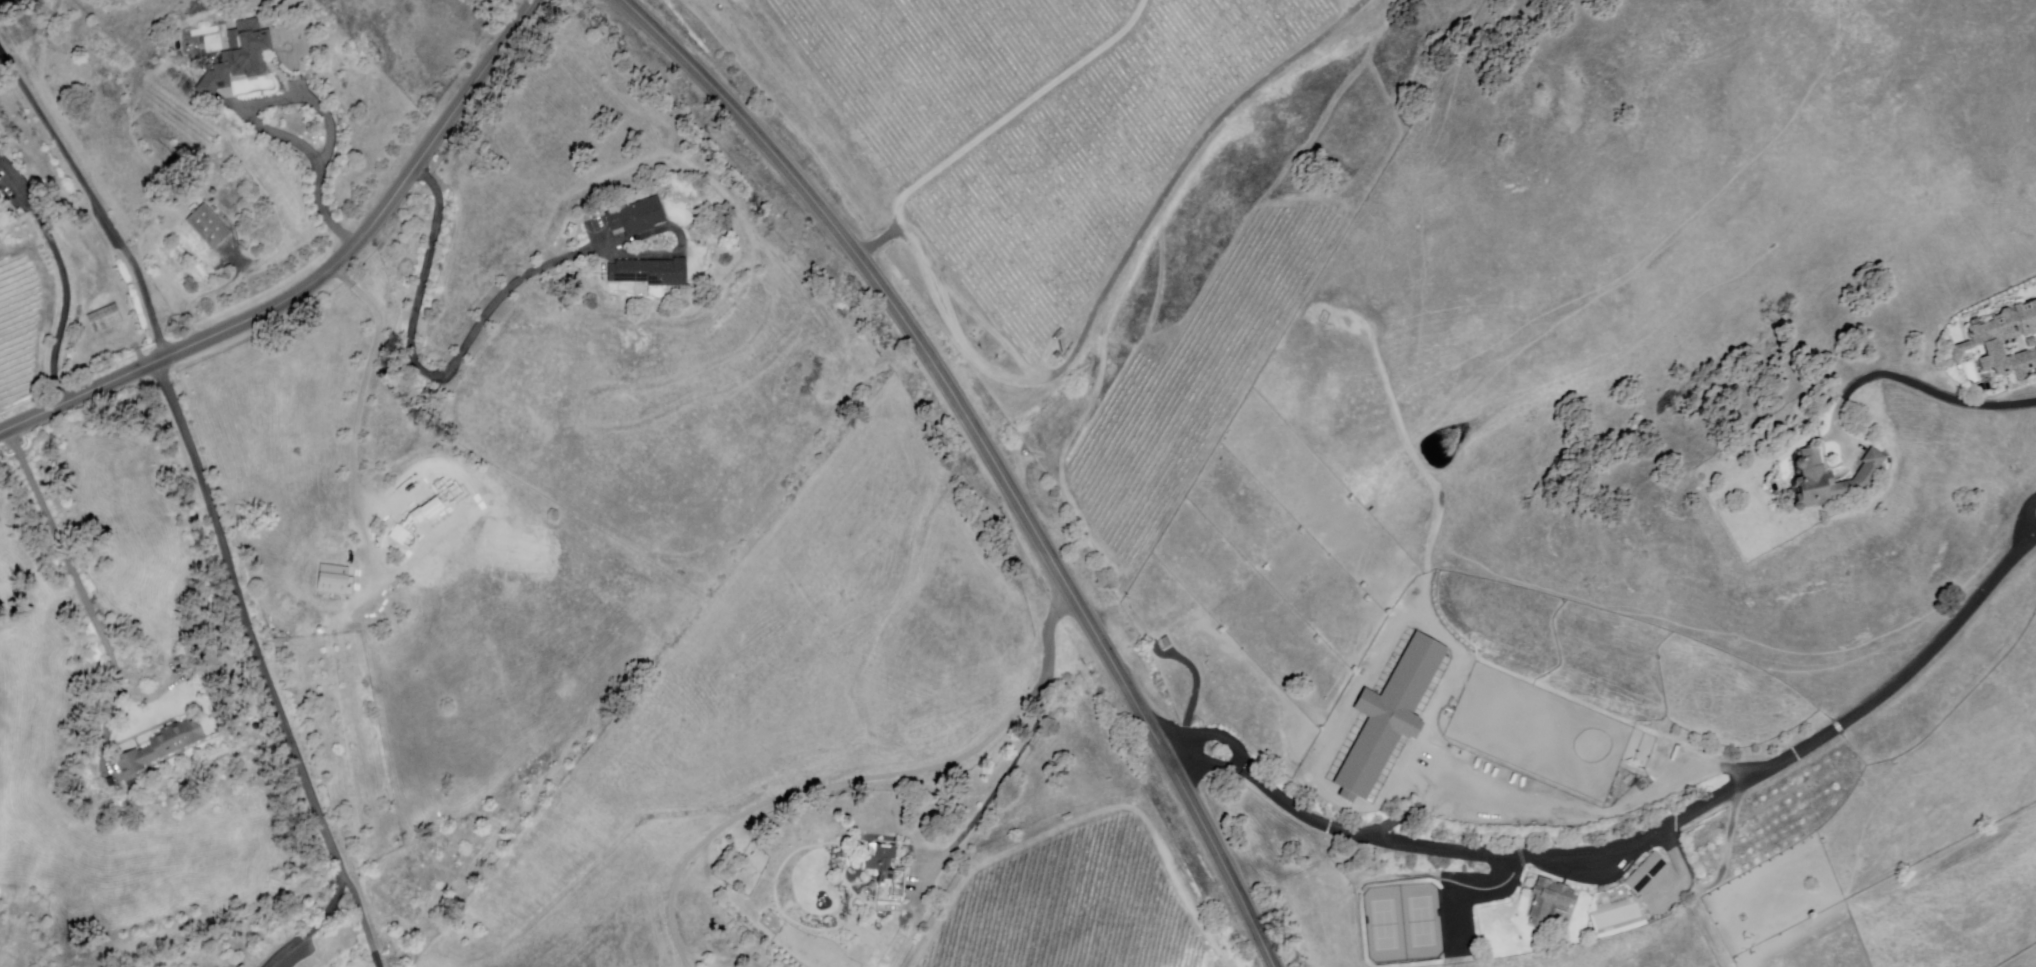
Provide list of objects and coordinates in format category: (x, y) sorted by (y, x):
building: (241, 57)
road: (249, 115)
road: (98, 197)
building: (637, 218)
building: (211, 227)
road: (304, 267)
building: (652, 274)
road: (65, 275)
building: (108, 319)
building: (1987, 342)
road: (418, 376)
road: (1936, 394)
crop: (665, 409)
road: (988, 454)
building: (1832, 480)
road: (2033, 522)
road: (67, 560)
building: (336, 579)
road: (252, 620)
crop: (507, 624)
road: (1053, 625)
building: (1389, 717)
road: (1216, 737)
building: (156, 749)
road: (1209, 762)
road: (825, 792)
road: (1681, 814)
road: (976, 817)
building: (882, 862)
building: (1647, 873)
building: (1550, 900)
road: (363, 922)
park: (1404, 924)
road: (319, 925)

